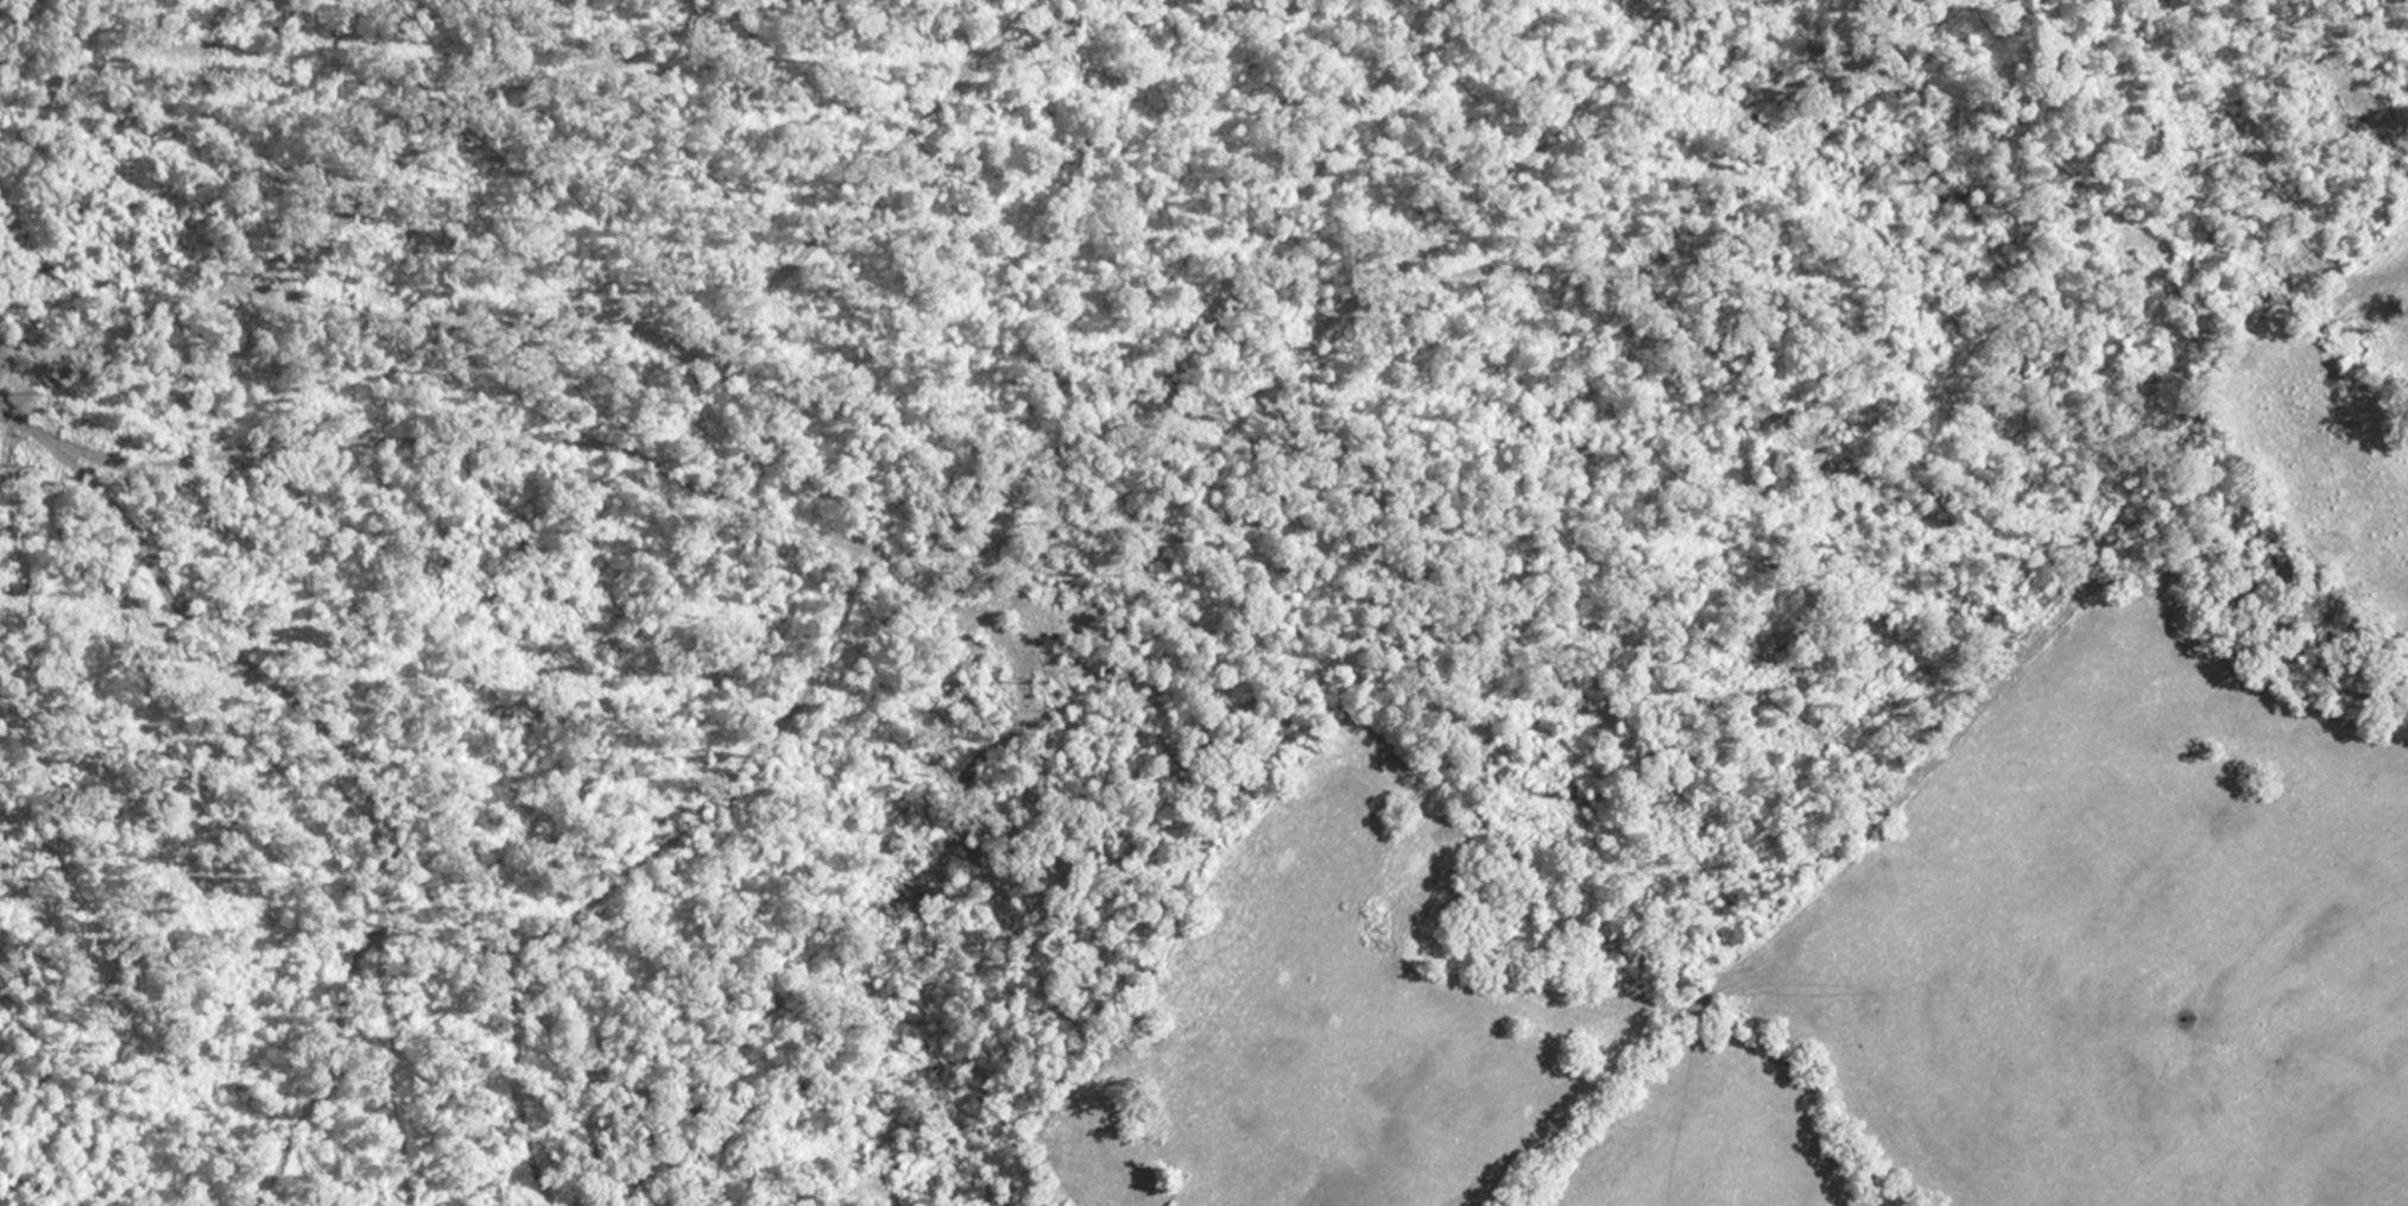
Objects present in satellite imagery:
road: (5, 6)
crop: (2330, 450)
crop: (1816, 979)

